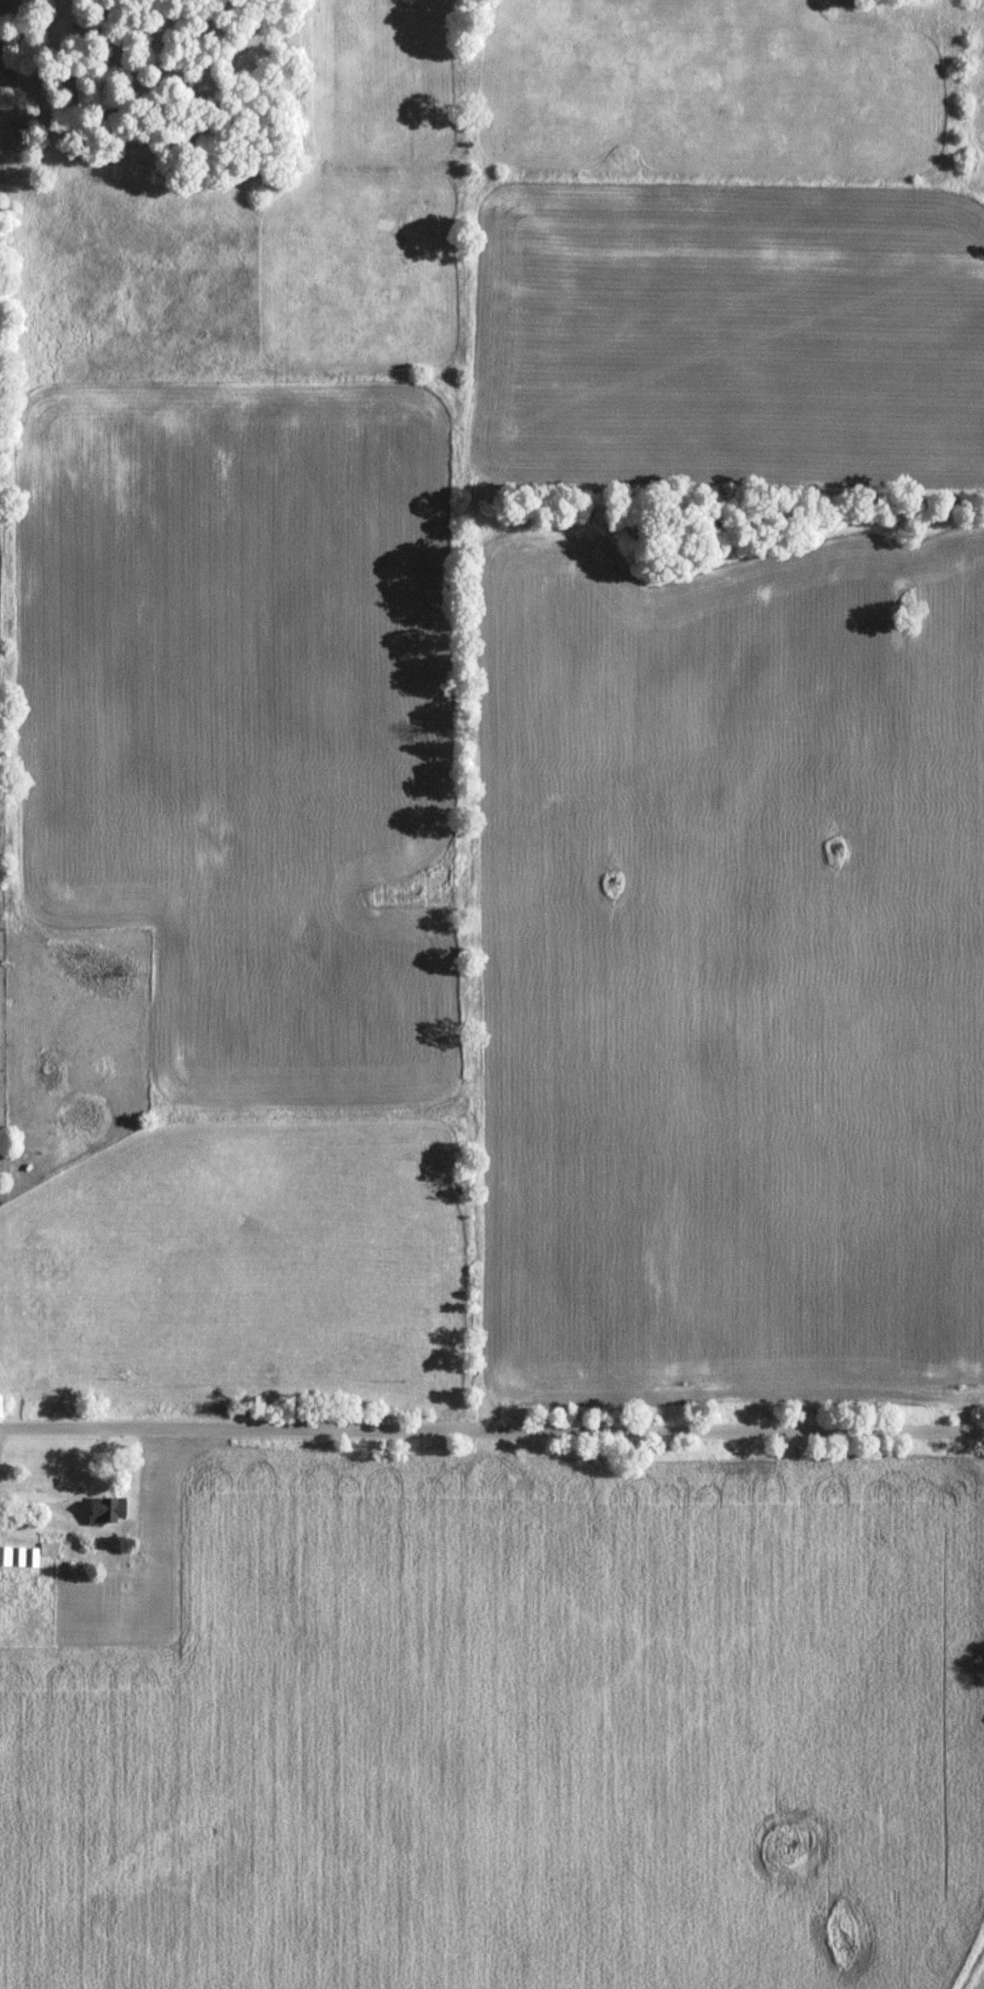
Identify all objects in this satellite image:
road: (492, 1433)
building: (110, 1512)

